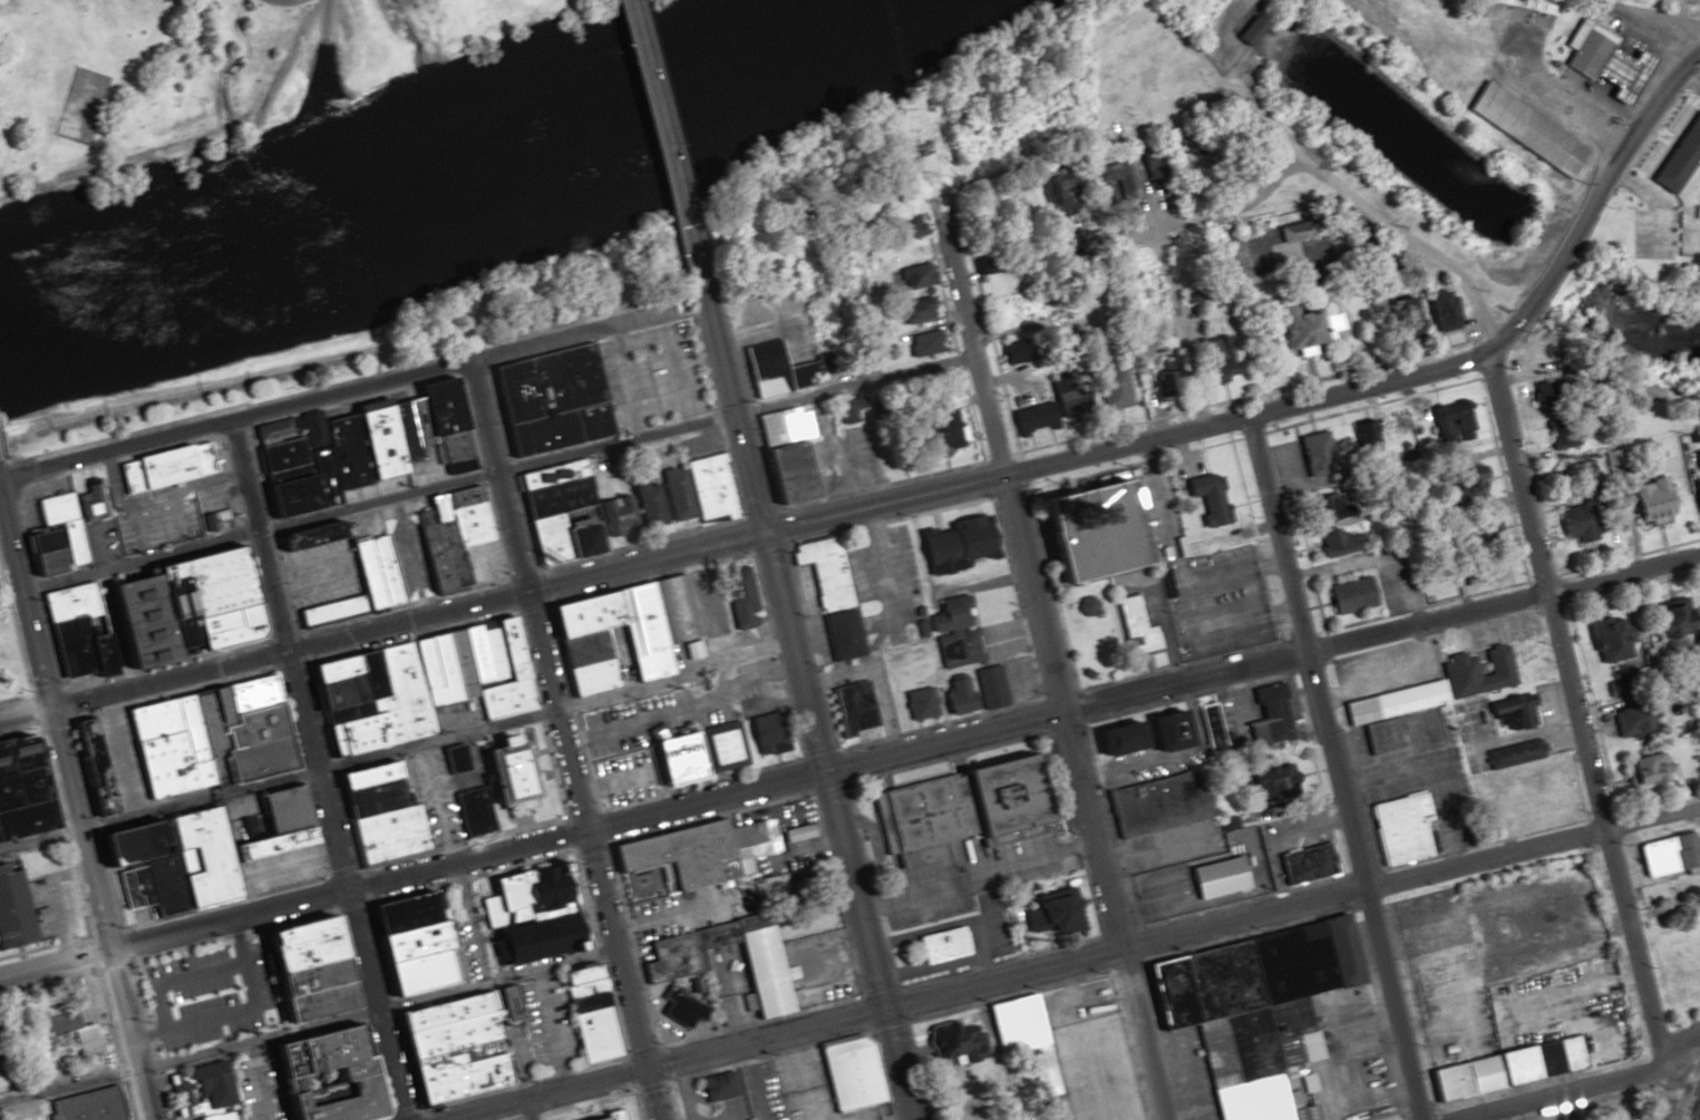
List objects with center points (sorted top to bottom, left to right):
building: (1242, 30)
park: (429, 36)
road: (324, 37)
building: (1599, 59)
park: (142, 86)
building: (1514, 127)
road: (1629, 133)
road: (657, 143)
building: (1675, 153)
building: (1150, 160)
river: (419, 177)
building: (1109, 179)
building: (1056, 193)
building: (1694, 218)
building: (902, 227)
building: (1292, 231)
road: (1552, 257)
building: (983, 264)
building: (914, 275)
road: (1165, 279)
road: (956, 285)
building: (915, 310)
building: (1435, 310)
building: (1397, 318)
road: (1513, 328)
building: (1292, 330)
road: (1071, 332)
road: (565, 333)
building: (1213, 360)
building: (773, 371)
parking lot: (663, 374)
road: (1191, 377)
road: (625, 379)
road: (849, 381)
building: (1162, 382)
building: (1110, 388)
parking lot: (609, 389)
road: (344, 391)
building: (1534, 392)
building: (545, 399)
building: (1049, 411)
building: (1454, 419)
building: (936, 431)
building: (1554, 434)
building: (1360, 435)
road: (611, 444)
building: (354, 447)
road: (111, 450)
building: (785, 452)
building: (1309, 455)
road: (1134, 464)
building: (156, 468)
road: (1004, 475)
building: (1693, 477)
building: (1458, 487)
building: (708, 488)
building: (1205, 498)
building: (1643, 500)
road: (373, 504)
building: (648, 504)
parking lot: (1153, 508)
building: (557, 512)
building: (1568, 522)
building: (1329, 528)
building: (1095, 532)
building: (1478, 532)
traffic signals: (758, 537)
building: (455, 539)
road: (1253, 539)
building: (954, 544)
road: (134, 565)
building: (370, 565)
building: (823, 572)
road: (1055, 590)
traffic signals: (526, 594)
building: (1347, 595)
building: (127, 596)
building: (738, 598)
parking lot: (1218, 602)
parking lot: (1147, 605)
building: (1086, 606)
building: (1665, 622)
building: (953, 629)
building: (1134, 629)
building: (657, 632)
park: (1094, 633)
parking lot: (1488, 633)
building: (841, 635)
building: (1604, 639)
road: (285, 653)
traffic signals: (282, 654)
road: (1147, 664)
road: (1182, 664)
parking lot: (1382, 670)
building: (1455, 670)
building: (1087, 674)
building: (989, 688)
road: (1143, 689)
building: (242, 693)
building: (954, 695)
road: (800, 702)
building: (1390, 702)
building: (919, 703)
traffic signals: (45, 709)
building: (853, 709)
building: (1512, 710)
road: (1573, 713)
road: (22, 714)
building: (1266, 717)
building: (401, 719)
building: (1632, 719)
building: (1160, 731)
parking lot: (1543, 731)
building: (767, 733)
road: (1065, 736)
building: (1381, 737)
building: (1111, 739)
road: (563, 740)
building: (1211, 740)
building: (721, 749)
building: (1510, 754)
building: (657, 763)
building: (95, 768)
road: (1333, 768)
road: (311, 770)
building: (1646, 770)
traffic signals: (818, 771)
parking lot: (1418, 773)
building: (506, 776)
building: (1267, 783)
road: (1576, 787)
building: (19, 789)
building: (952, 809)
road: (74, 826)
building: (1397, 829)
traffic signals: (586, 830)
road: (1528, 832)
building: (760, 838)
building: (123, 846)
building: (1669, 855)
building: (1304, 864)
building: (1203, 882)
traffic signals: (342, 892)
road: (293, 903)
building: (12, 912)
building: (1053, 914)
building: (524, 917)
road: (1173, 935)
building: (402, 944)
building: (938, 945)
traffic signals: (106, 949)
building: (670, 968)
building: (294, 971)
building: (576, 975)
road: (1082, 977)
parking lot: (1490, 987)
parking lot: (204, 991)
road: (1408, 1009)
building: (680, 1010)
traffic signals: (880, 1010)
building: (1250, 1011)
building: (1014, 1024)
road: (1324, 1026)
building: (593, 1034)
building: (60, 1035)
building: (954, 1040)
parking lot: (1362, 1041)
building: (449, 1042)
parking lot: (920, 1042)
parking lot: (1089, 1052)
traffic signals: (648, 1067)
building: (1506, 1068)
road: (920, 1070)
building: (1039, 1072)
building: (321, 1073)
building: (847, 1074)
parking lot: (1184, 1074)
building: (2, 1075)
road: (800, 1075)
road: (754, 1081)
building: (1304, 1082)
road: (1535, 1082)
building: (205, 1084)
road: (727, 1084)
road: (68, 1085)
road: (719, 1085)
building: (717, 1087)
road: (1334, 1088)
road: (686, 1089)
road: (1585, 1089)
parking lot: (769, 1090)
parking lot: (809, 1090)
road: (541, 1092)
parking lot: (698, 1093)
parking lot: (681, 1102)
building: (88, 1106)
road: (528, 1108)
building: (606, 1116)
building: (216, 1117)
building: (963, 1117)
building: (1053, 1117)
road: (904, 1119)

